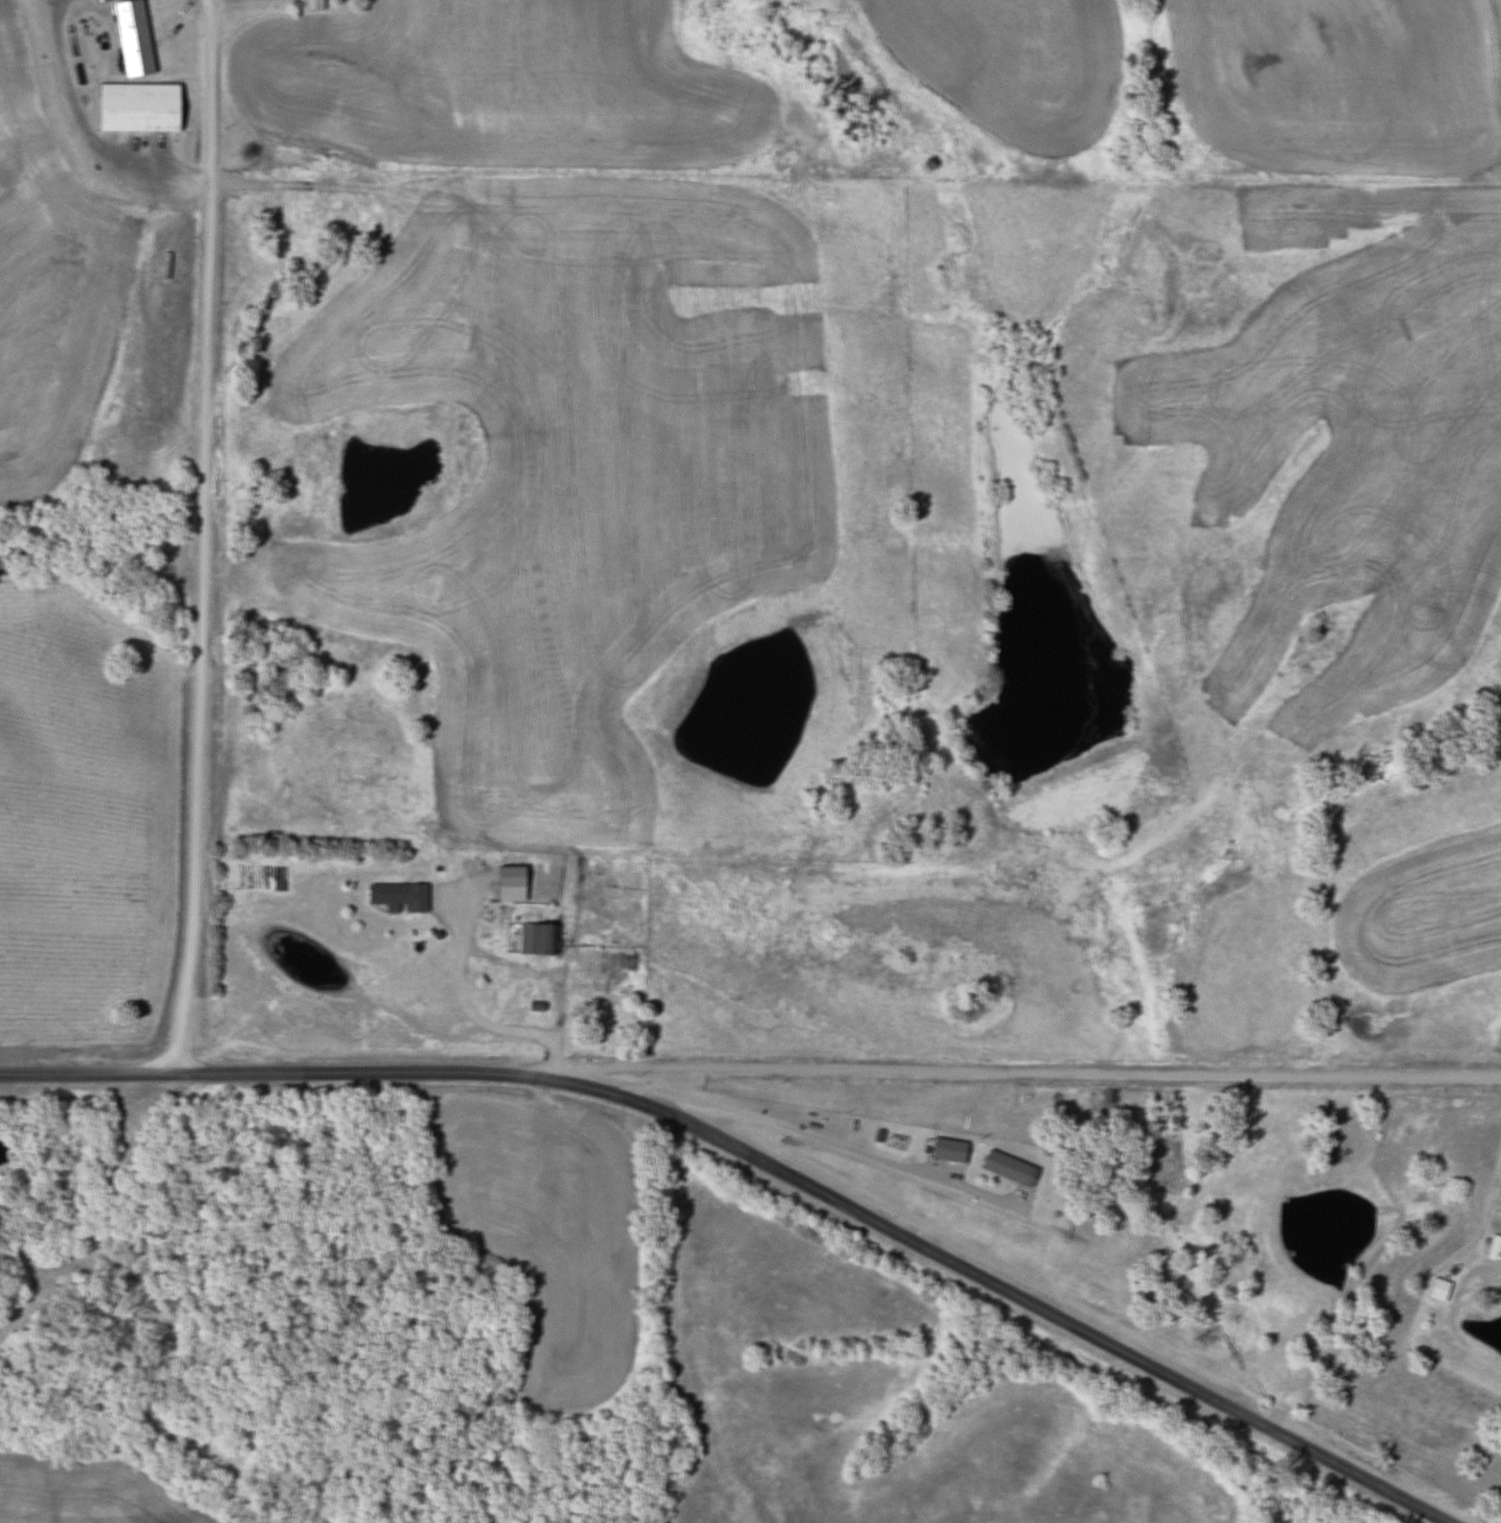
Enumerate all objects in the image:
building: (313, 4)
building: (133, 37)
building: (137, 107)
road: (205, 538)
building: (509, 883)
building: (397, 896)
building: (536, 939)
road: (1037, 1075)
building: (947, 1150)
road: (763, 1161)
building: (1008, 1169)
building: (1494, 1249)
road: (1494, 1276)

